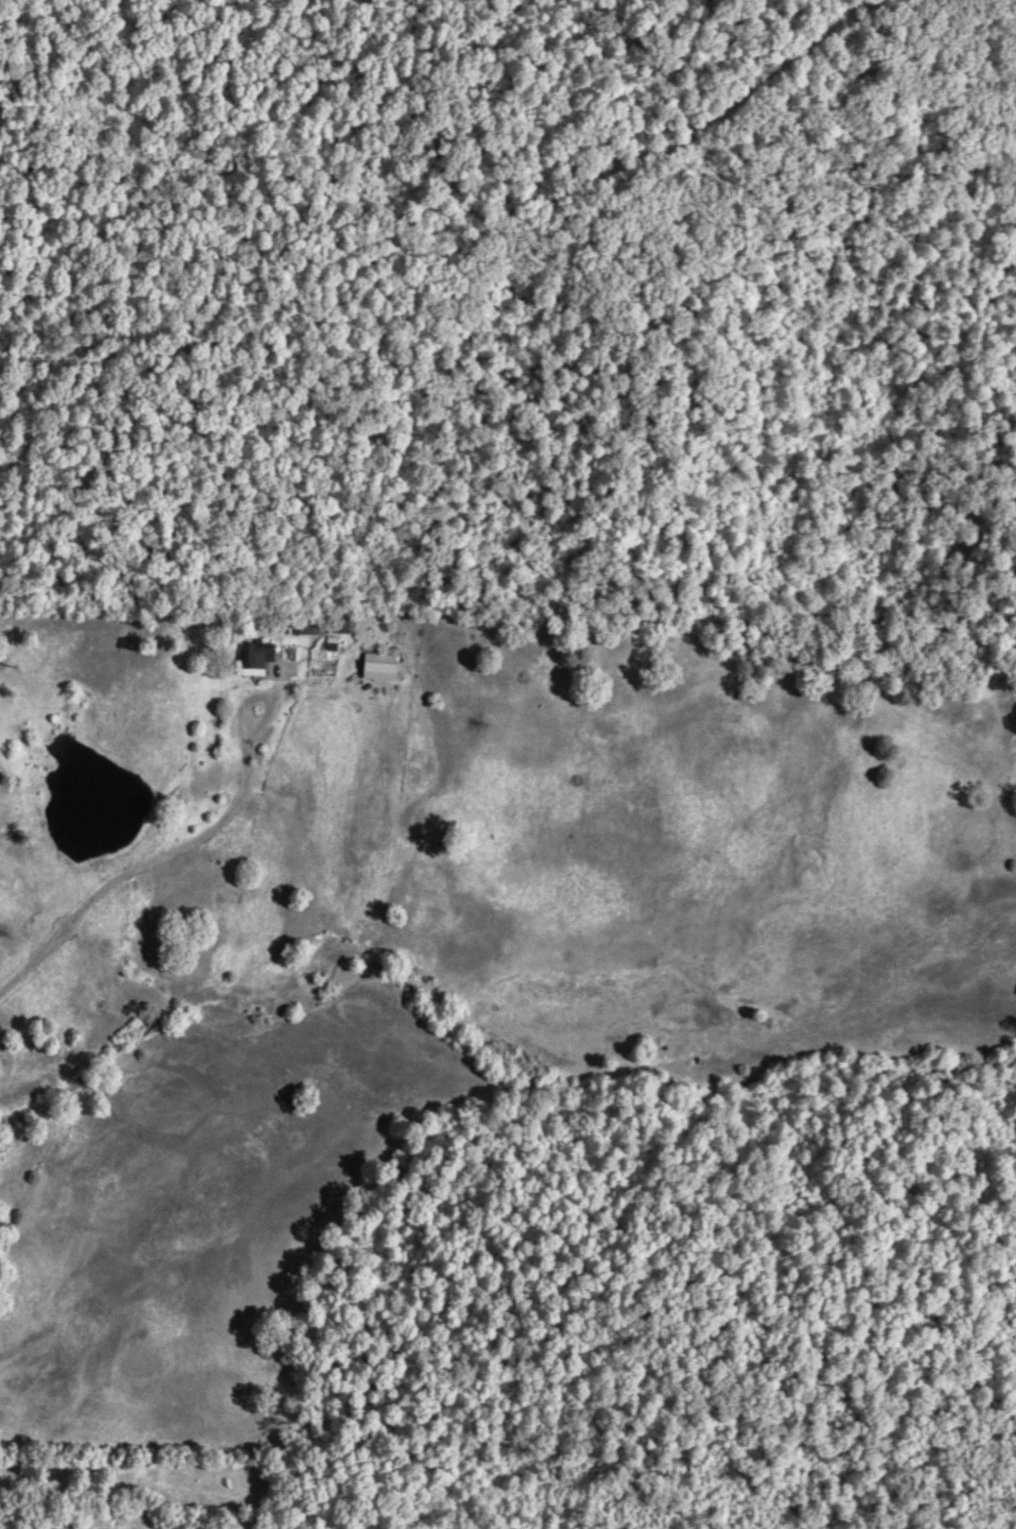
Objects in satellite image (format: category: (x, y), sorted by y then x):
road: (440, 167)
road: (808, 206)
road: (74, 500)
building: (341, 621)
building: (303, 627)
building: (255, 656)
building: (377, 667)
road: (201, 835)
road: (32, 959)
road: (513, 1077)
road: (741, 1472)

